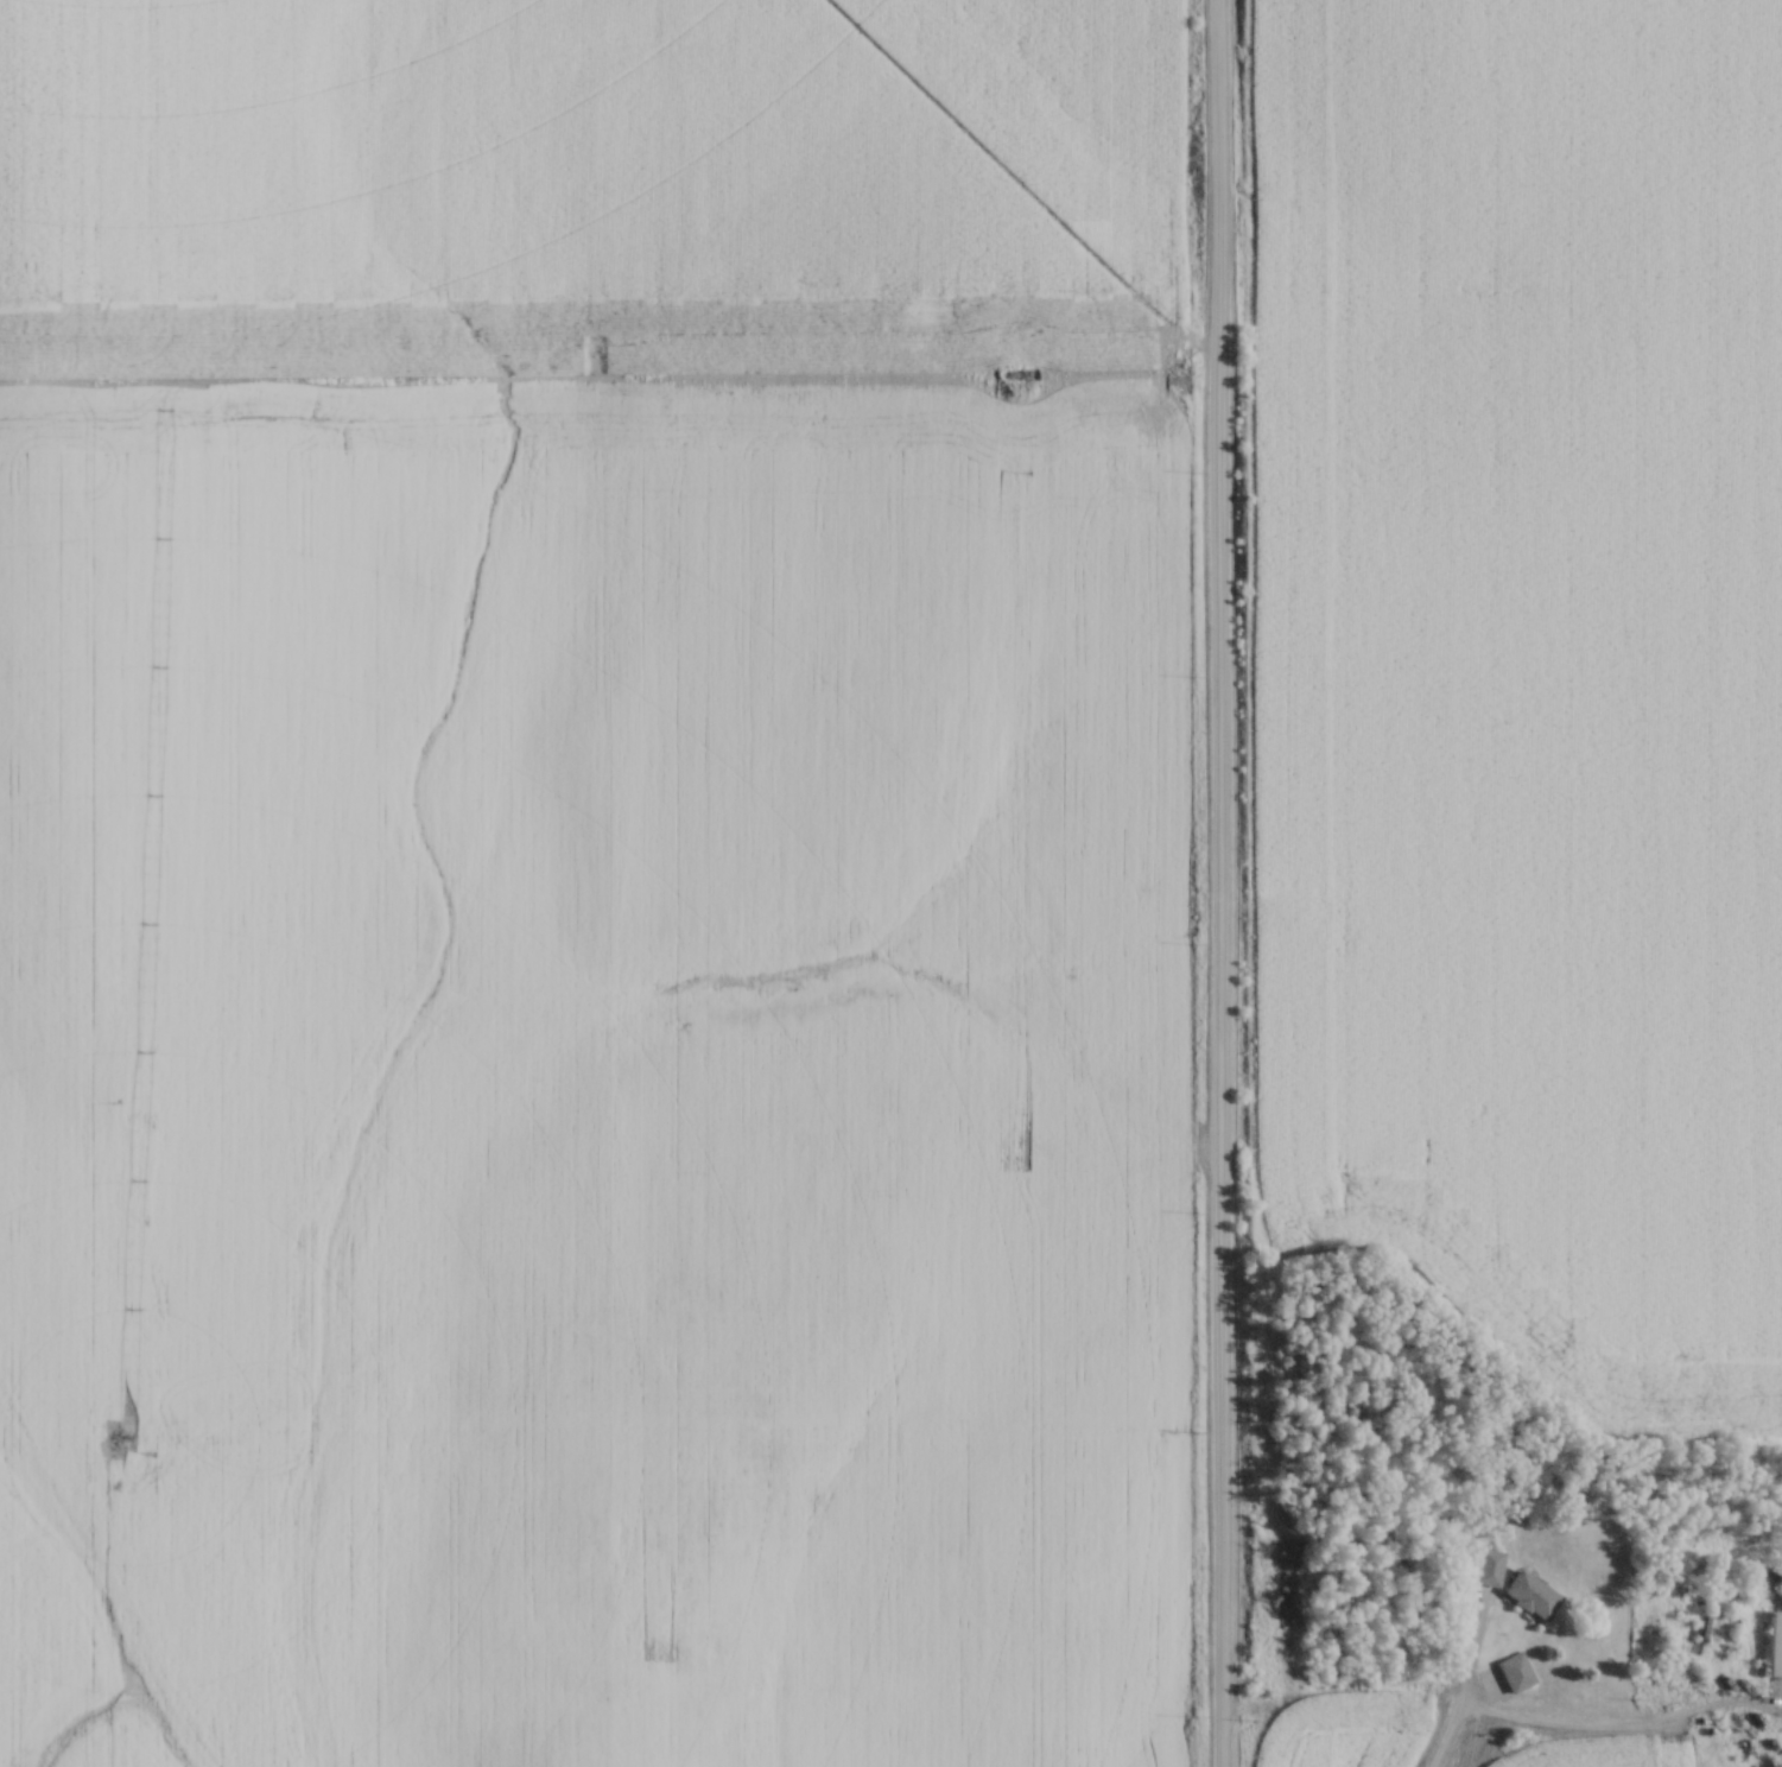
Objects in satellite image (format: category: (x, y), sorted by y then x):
crop: (1528, 670)
road: (1215, 883)
building: (1486, 1566)
building: (1533, 1597)
building: (1774, 1648)
building: (1505, 1678)
road: (1457, 1693)
building: (1736, 1725)
building: (1756, 1762)

